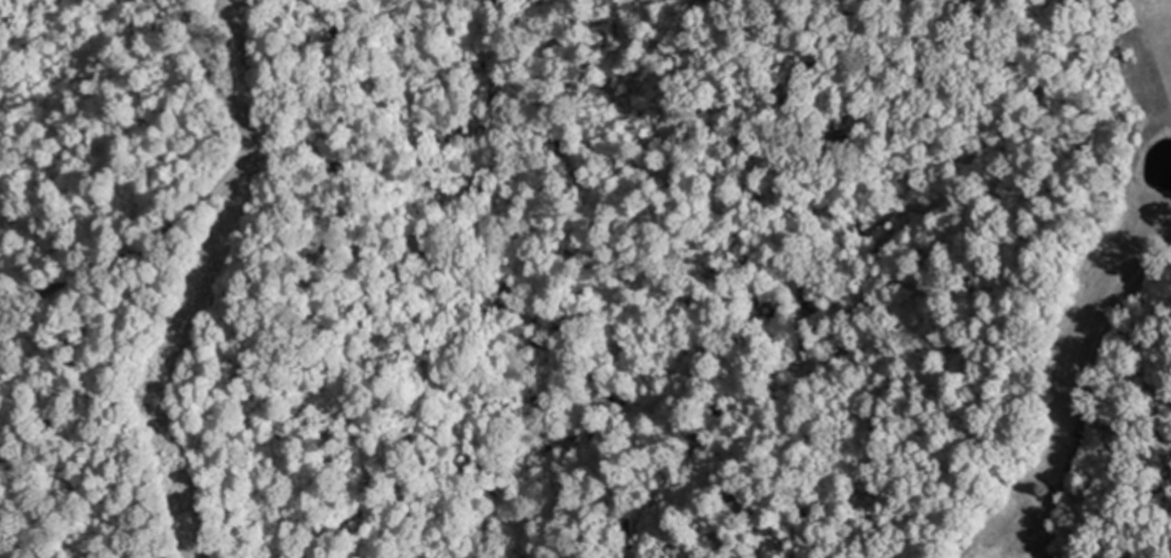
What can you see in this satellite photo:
road: (206, 202)

